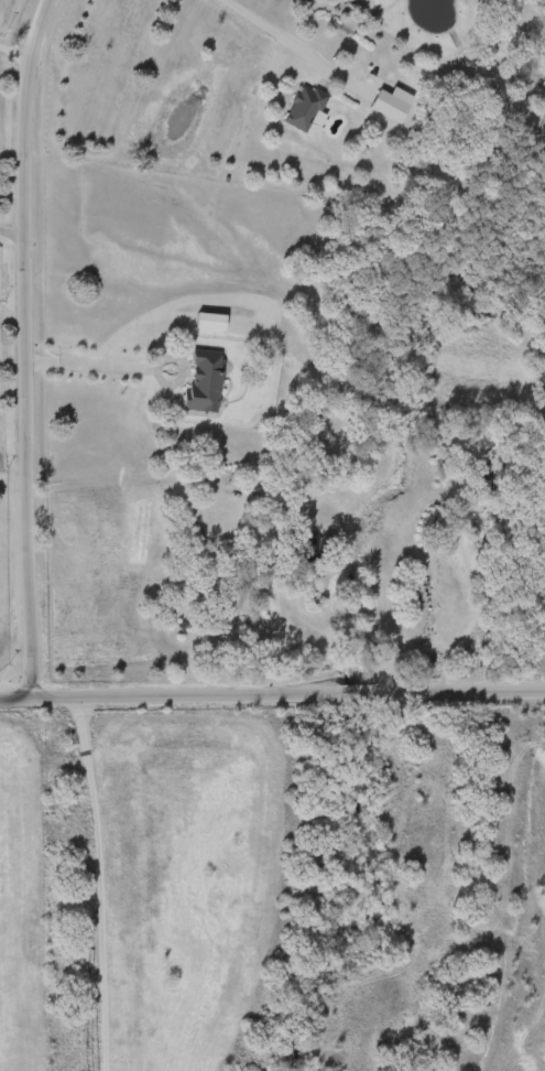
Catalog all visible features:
road: (32, 29)
road: (275, 36)
road: (12, 53)
building: (385, 105)
building: (301, 108)
road: (10, 235)
road: (228, 299)
building: (207, 321)
road: (87, 366)
road: (153, 369)
road: (22, 379)
building: (200, 380)
road: (273, 624)
road: (272, 705)
road: (101, 885)

